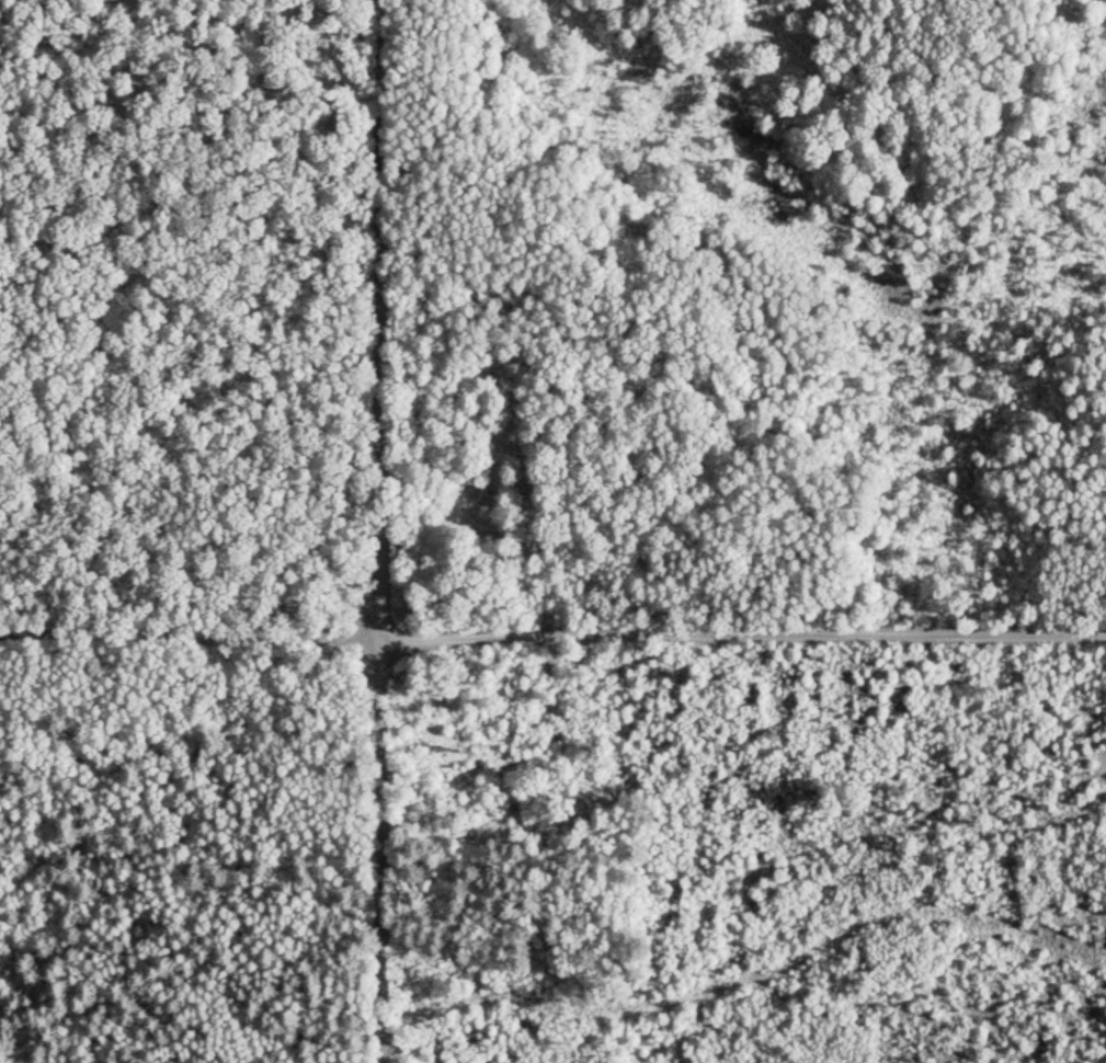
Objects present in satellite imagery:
road: (379, 320)
road: (742, 637)
road: (189, 640)
road: (379, 851)

